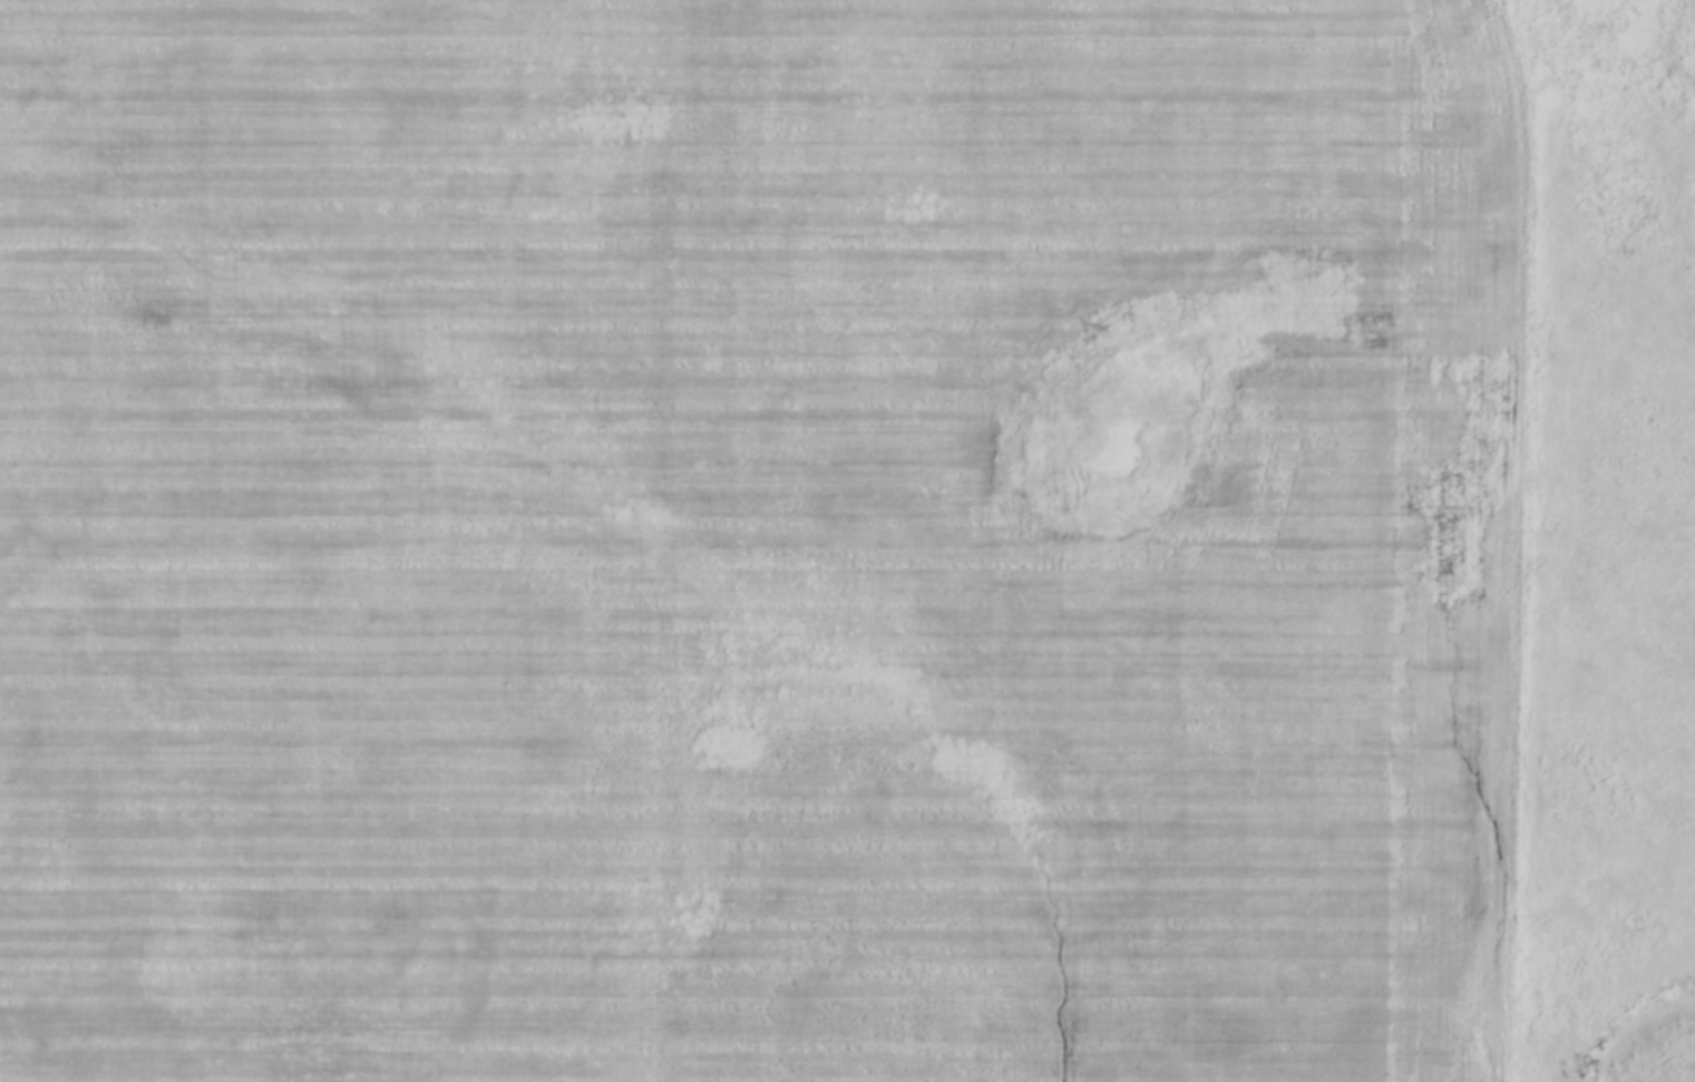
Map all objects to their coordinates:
airport runway: (1640, 626)

